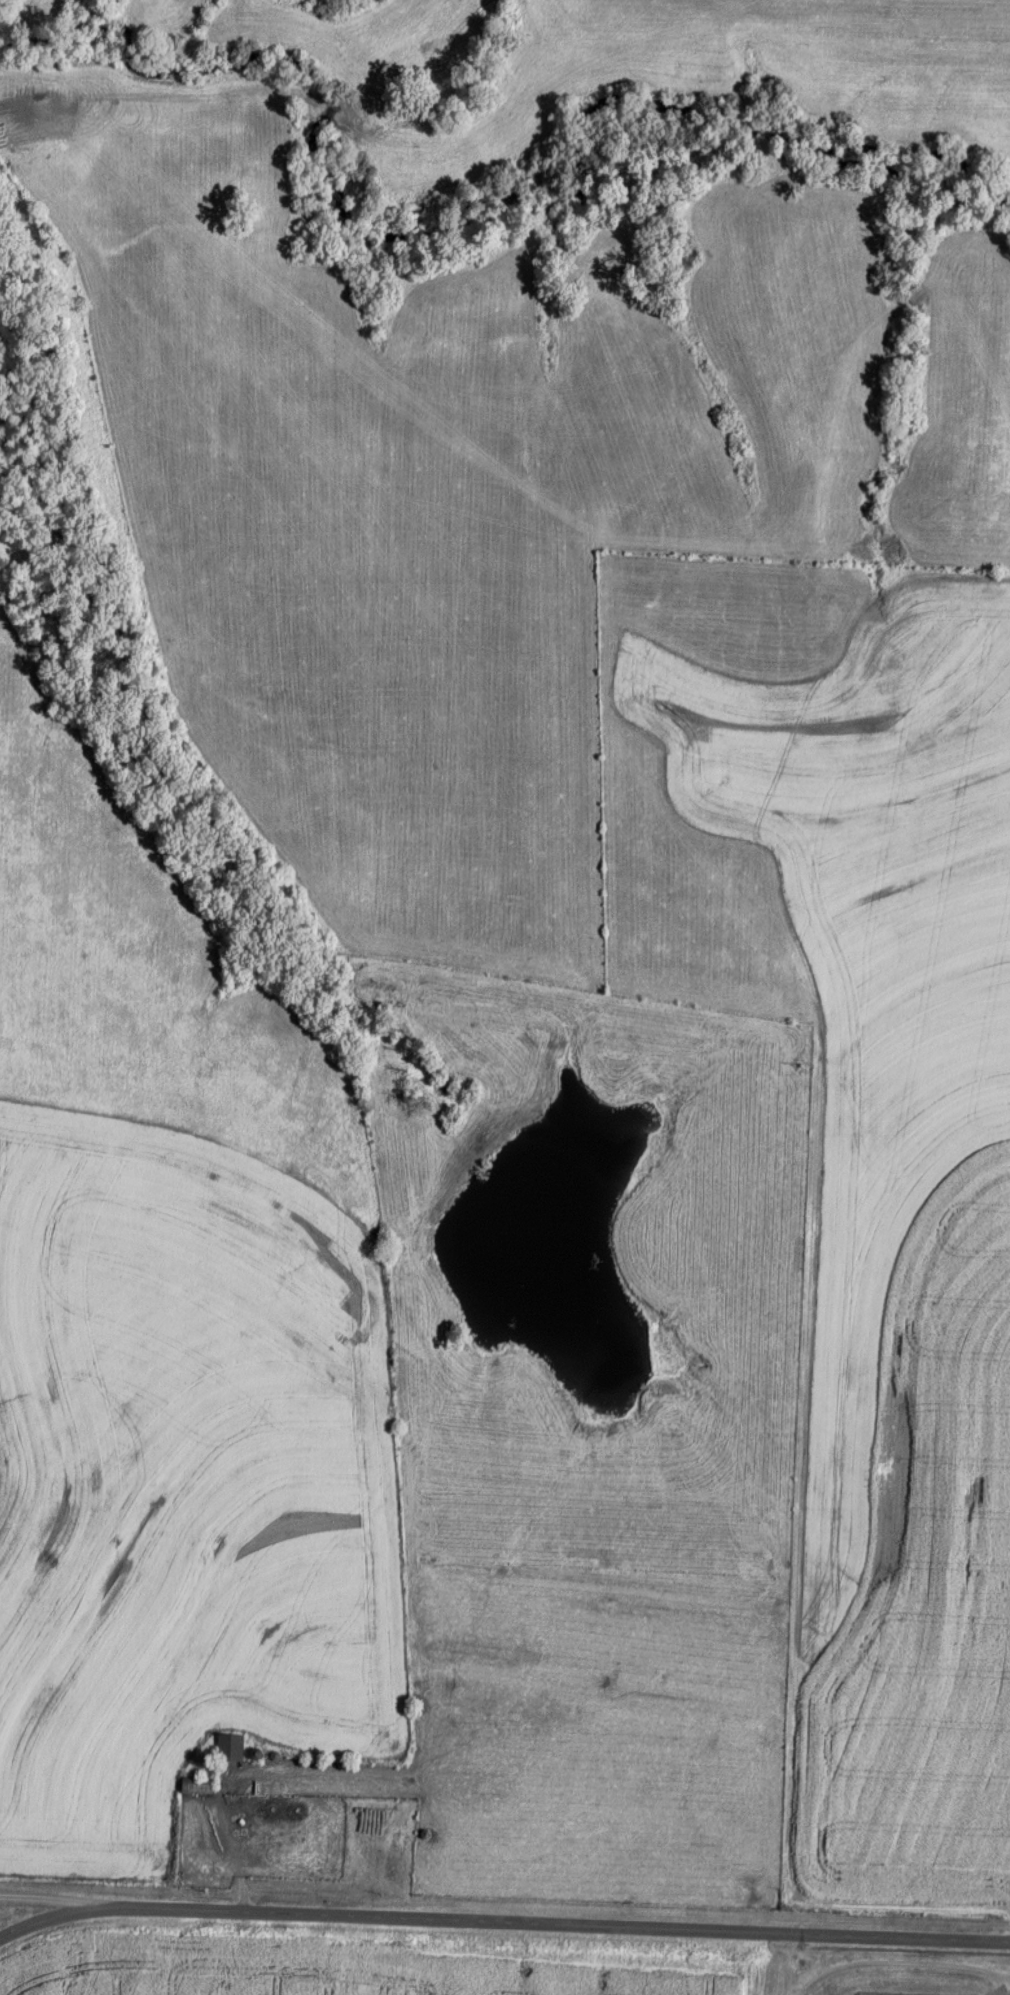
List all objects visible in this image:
building: (233, 1746)
building: (208, 1782)
road: (246, 1843)
road: (50, 1897)
road: (502, 1921)

